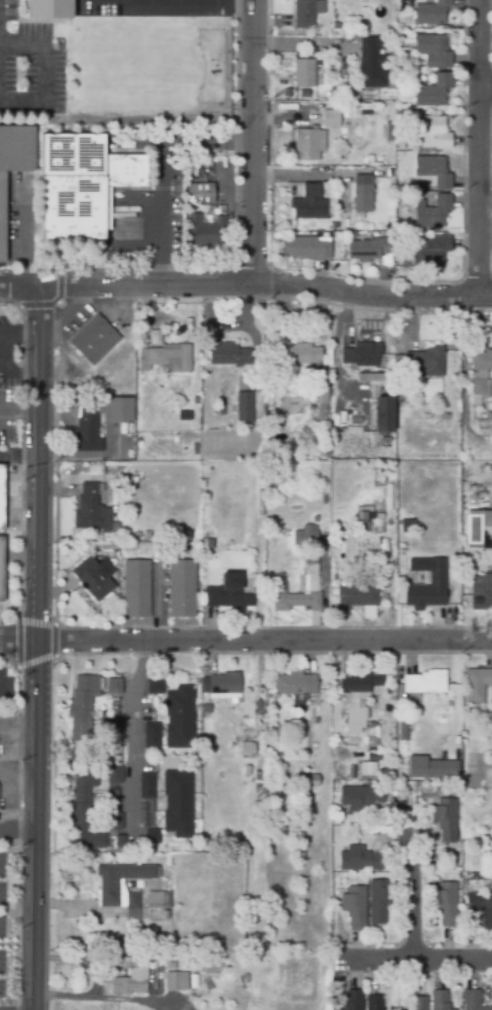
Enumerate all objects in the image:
road: (168, 1)
building: (345, 1)
building: (48, 8)
building: (306, 12)
building: (430, 13)
building: (433, 51)
building: (370, 66)
building: (303, 74)
road: (42, 79)
road: (485, 88)
building: (433, 92)
building: (335, 94)
building: (385, 115)
building: (332, 119)
building: (432, 132)
road: (256, 142)
building: (308, 145)
road: (478, 147)
building: (13, 162)
road: (163, 171)
building: (430, 173)
building: (79, 184)
building: (197, 194)
building: (361, 194)
building: (306, 204)
building: (431, 213)
building: (337, 224)
building: (204, 231)
building: (305, 249)
building: (368, 250)
building: (430, 254)
building: (404, 260)
road: (267, 287)
road: (21, 291)
road: (69, 315)
building: (94, 341)
building: (227, 355)
building: (299, 355)
building: (361, 355)
building: (166, 359)
building: (422, 362)
building: (480, 377)
building: (320, 397)
building: (244, 404)
building: (218, 410)
building: (382, 414)
building: (184, 416)
building: (446, 417)
building: (489, 418)
building: (355, 421)
building: (230, 422)
building: (87, 426)
road: (21, 461)
building: (471, 463)
building: (1, 496)
building: (215, 498)
building: (91, 510)
building: (427, 517)
building: (362, 518)
building: (406, 522)
building: (478, 529)
building: (137, 535)
building: (305, 537)
building: (1, 570)
building: (436, 579)
building: (92, 580)
building: (279, 588)
building: (136, 590)
building: (181, 590)
building: (481, 593)
building: (225, 596)
building: (358, 597)
road: (245, 645)
road: (40, 650)
building: (423, 682)
road: (2, 685)
building: (221, 685)
building: (476, 685)
building: (155, 687)
building: (295, 687)
building: (357, 698)
building: (87, 704)
building: (205, 710)
building: (179, 718)
building: (442, 723)
building: (243, 728)
building: (403, 729)
building: (113, 732)
building: (151, 736)
road: (132, 737)
building: (208, 739)
building: (391, 744)
building: (247, 751)
building: (369, 759)
building: (403, 763)
building: (430, 766)
building: (114, 777)
building: (307, 781)
building: (260, 783)
building: (146, 787)
building: (359, 798)
building: (177, 804)
building: (83, 815)
building: (445, 818)
building: (114, 823)
road: (20, 831)
building: (152, 837)
building: (120, 843)
building: (359, 860)
building: (153, 886)
building: (109, 894)
road: (411, 894)
building: (378, 901)
building: (156, 902)
building: (445, 904)
building: (131, 907)
road: (67, 908)
building: (353, 908)
building: (480, 908)
road: (426, 956)
building: (185, 959)
building: (206, 962)
building: (170, 966)
building: (130, 982)
building: (175, 982)
road: (103, 1000)
building: (353, 1000)
building: (439, 1001)
building: (472, 1001)
building: (373, 1003)
building: (418, 1004)
building: (184, 1007)

